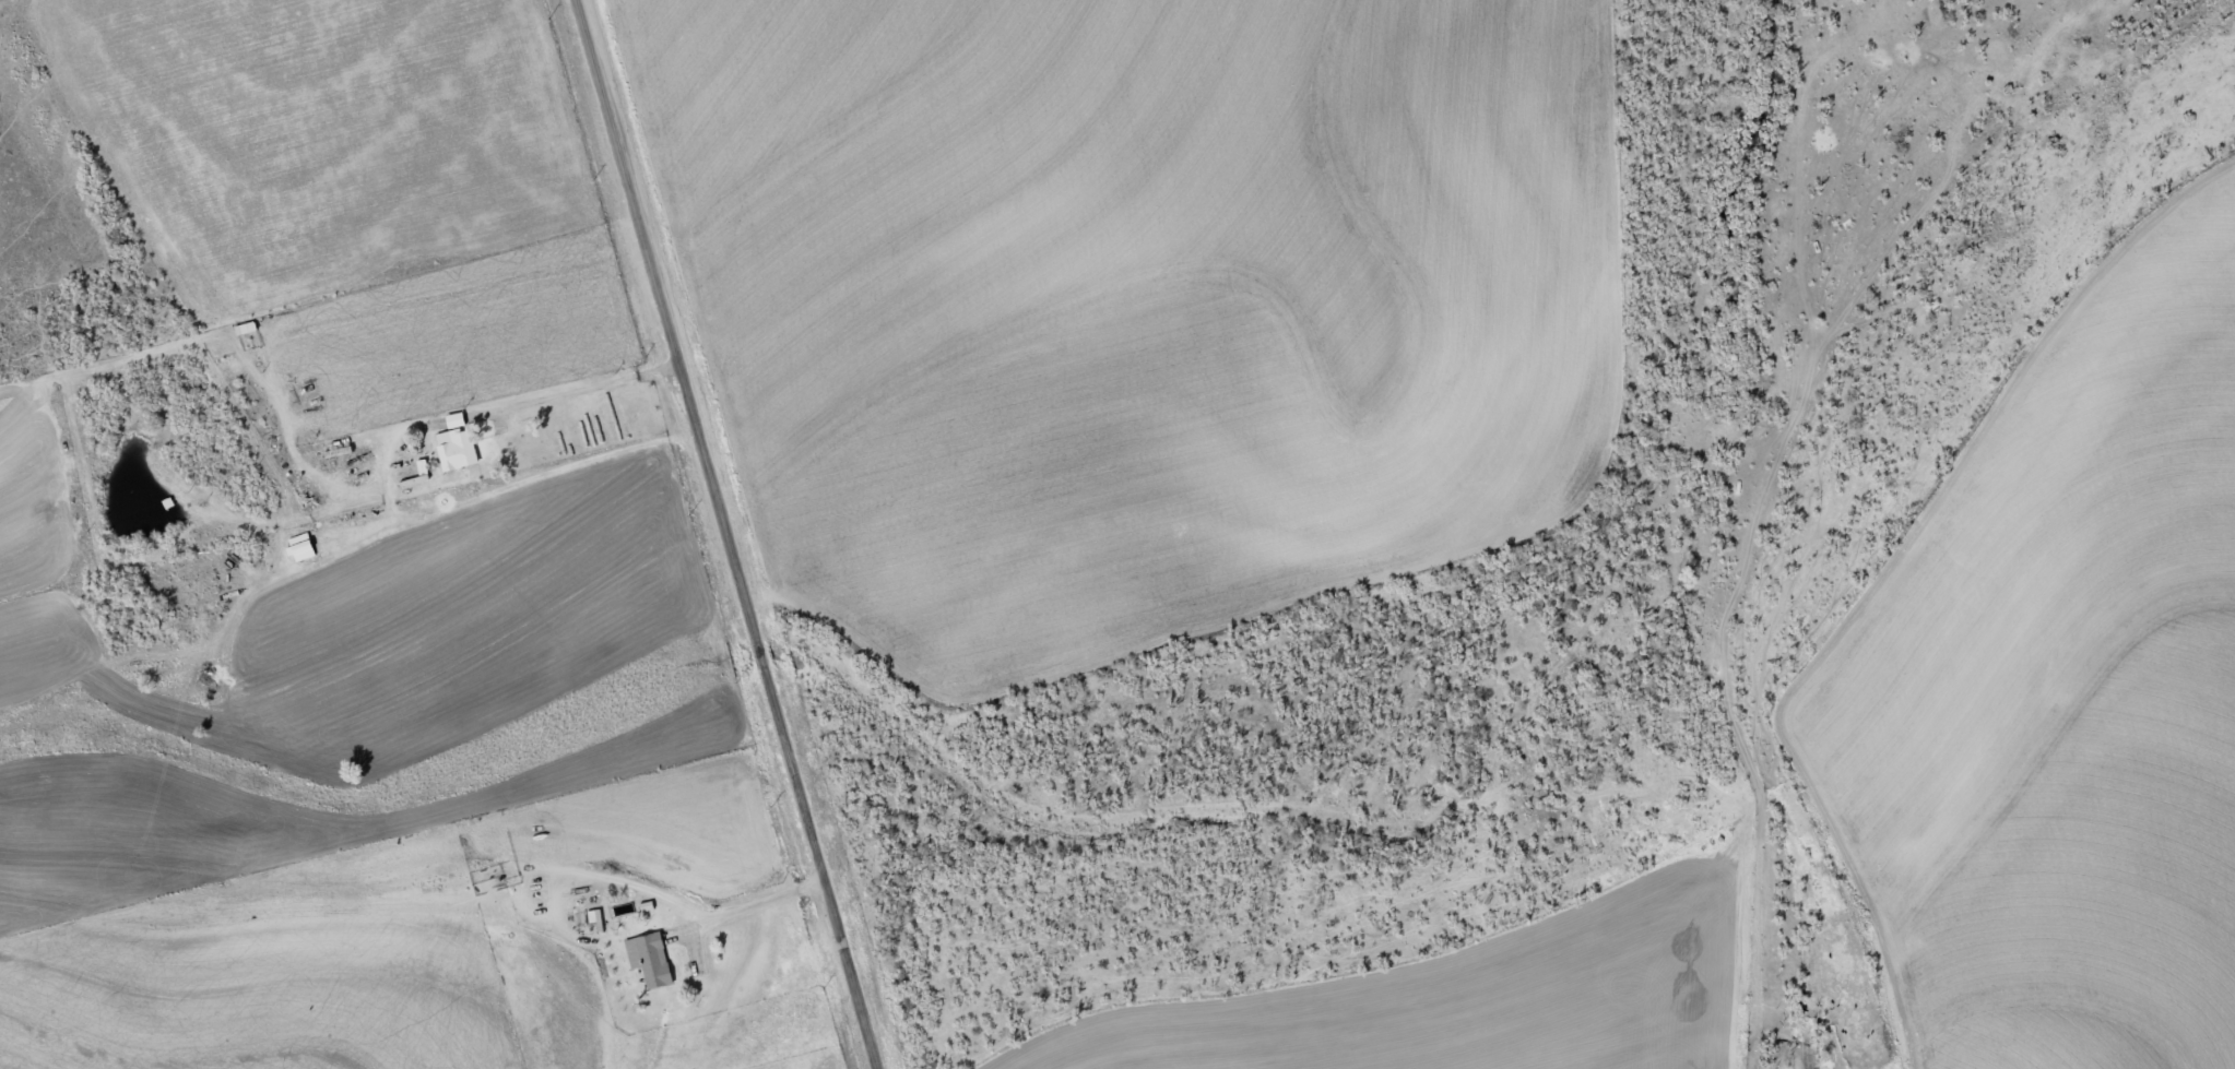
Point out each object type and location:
road: (732, 534)
building: (596, 918)
building: (652, 959)

